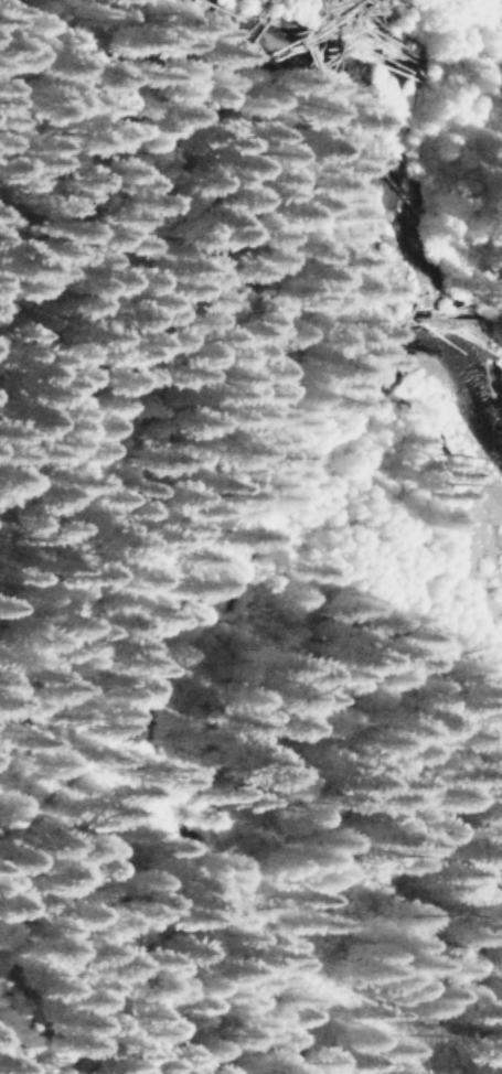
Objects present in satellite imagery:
river: (402, 241)
road: (25, 1042)

